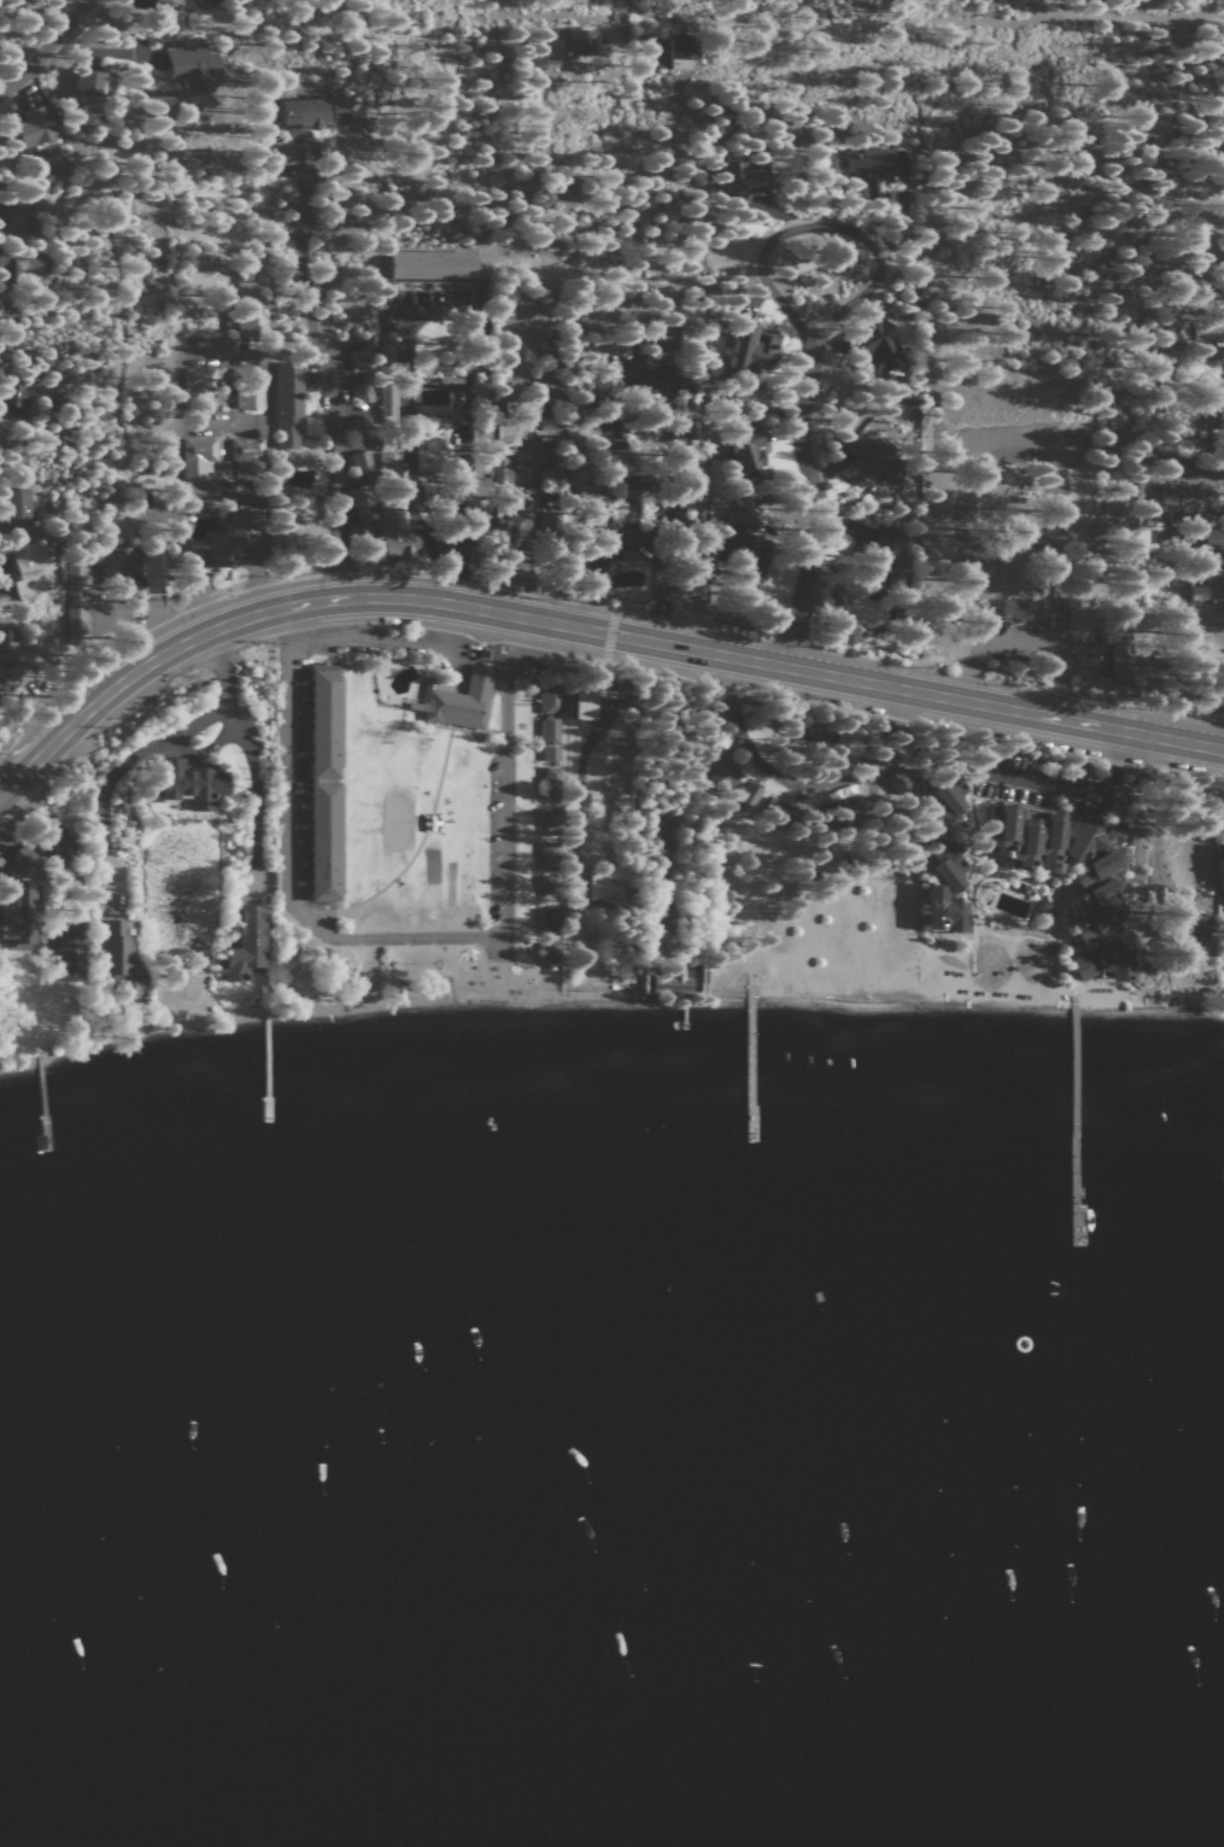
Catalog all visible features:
building: (170, 0)
building: (581, 45)
road: (46, 49)
building: (683, 51)
building: (192, 66)
building: (89, 81)
building: (314, 111)
building: (34, 125)
building: (872, 170)
building: (745, 174)
building: (18, 212)
road: (816, 224)
building: (433, 265)
building: (21, 267)
building: (250, 311)
building: (1207, 329)
building: (8, 333)
building: (667, 338)
building: (751, 346)
building: (880, 346)
building: (387, 352)
building: (361, 357)
building: (198, 386)
building: (250, 391)
building: (481, 391)
building: (362, 392)
building: (12, 394)
building: (387, 399)
building: (551, 409)
building: (690, 427)
building: (506, 433)
building: (1167, 445)
building: (390, 448)
building: (746, 449)
building: (198, 458)
building: (869, 458)
building: (246, 460)
building: (362, 461)
building: (390, 467)
building: (692, 468)
building: (500, 473)
building: (552, 474)
building: (476, 481)
building: (588, 496)
building: (1189, 499)
road: (810, 504)
building: (693, 507)
building: (16, 508)
building: (362, 512)
building: (478, 512)
building: (109, 521)
building: (500, 521)
building: (394, 531)
road: (1053, 532)
building: (238, 537)
road: (177, 538)
building: (1211, 538)
building: (744, 545)
building: (883, 556)
building: (29, 568)
building: (154, 573)
building: (76, 590)
building: (1199, 592)
road: (496, 614)
road: (403, 641)
building: (7, 643)
road: (984, 644)
building: (1119, 649)
building: (549, 699)
building: (458, 700)
building: (585, 703)
building: (550, 730)
road: (1136, 735)
building: (550, 754)
building: (724, 776)
road: (806, 779)
road: (1036, 779)
building: (551, 782)
building: (897, 782)
building: (192, 783)
building: (326, 783)
building: (749, 794)
building: (550, 818)
building: (949, 830)
building: (1026, 836)
building: (550, 851)
building: (62, 852)
building: (1223, 881)
building: (550, 883)
building: (608, 885)
building: (1102, 896)
building: (944, 911)
building: (550, 918)
building: (1197, 928)
road: (399, 936)
building: (245, 946)
building: (68, 948)
building: (119, 958)
pier: (683, 1015)
pier: (264, 1064)
pier: (749, 1065)
pier: (39, 1100)
pier: (1073, 1120)

